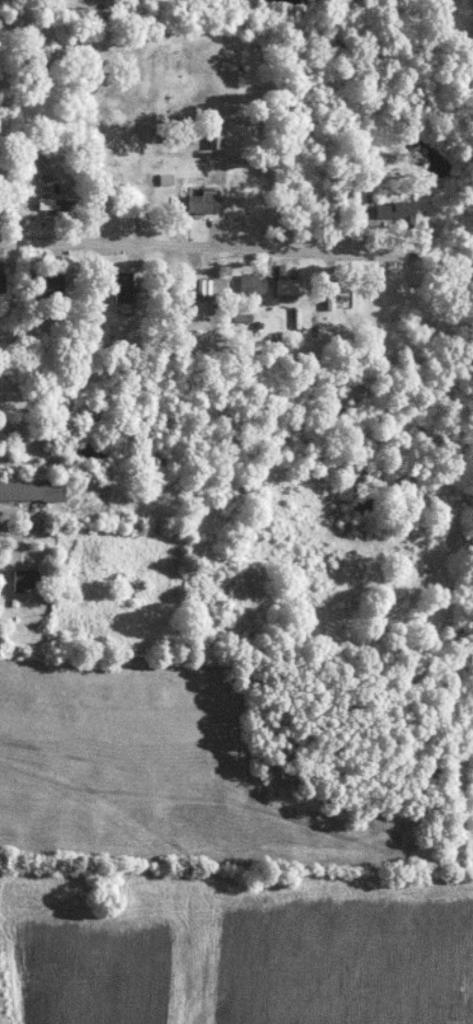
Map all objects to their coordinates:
building: (140, 188)
building: (61, 201)
building: (206, 201)
road: (236, 257)
building: (294, 277)
building: (4, 282)
building: (208, 284)
building: (256, 284)
building: (128, 287)
building: (34, 489)
road: (5, 537)
building: (29, 579)
road: (231, 847)

